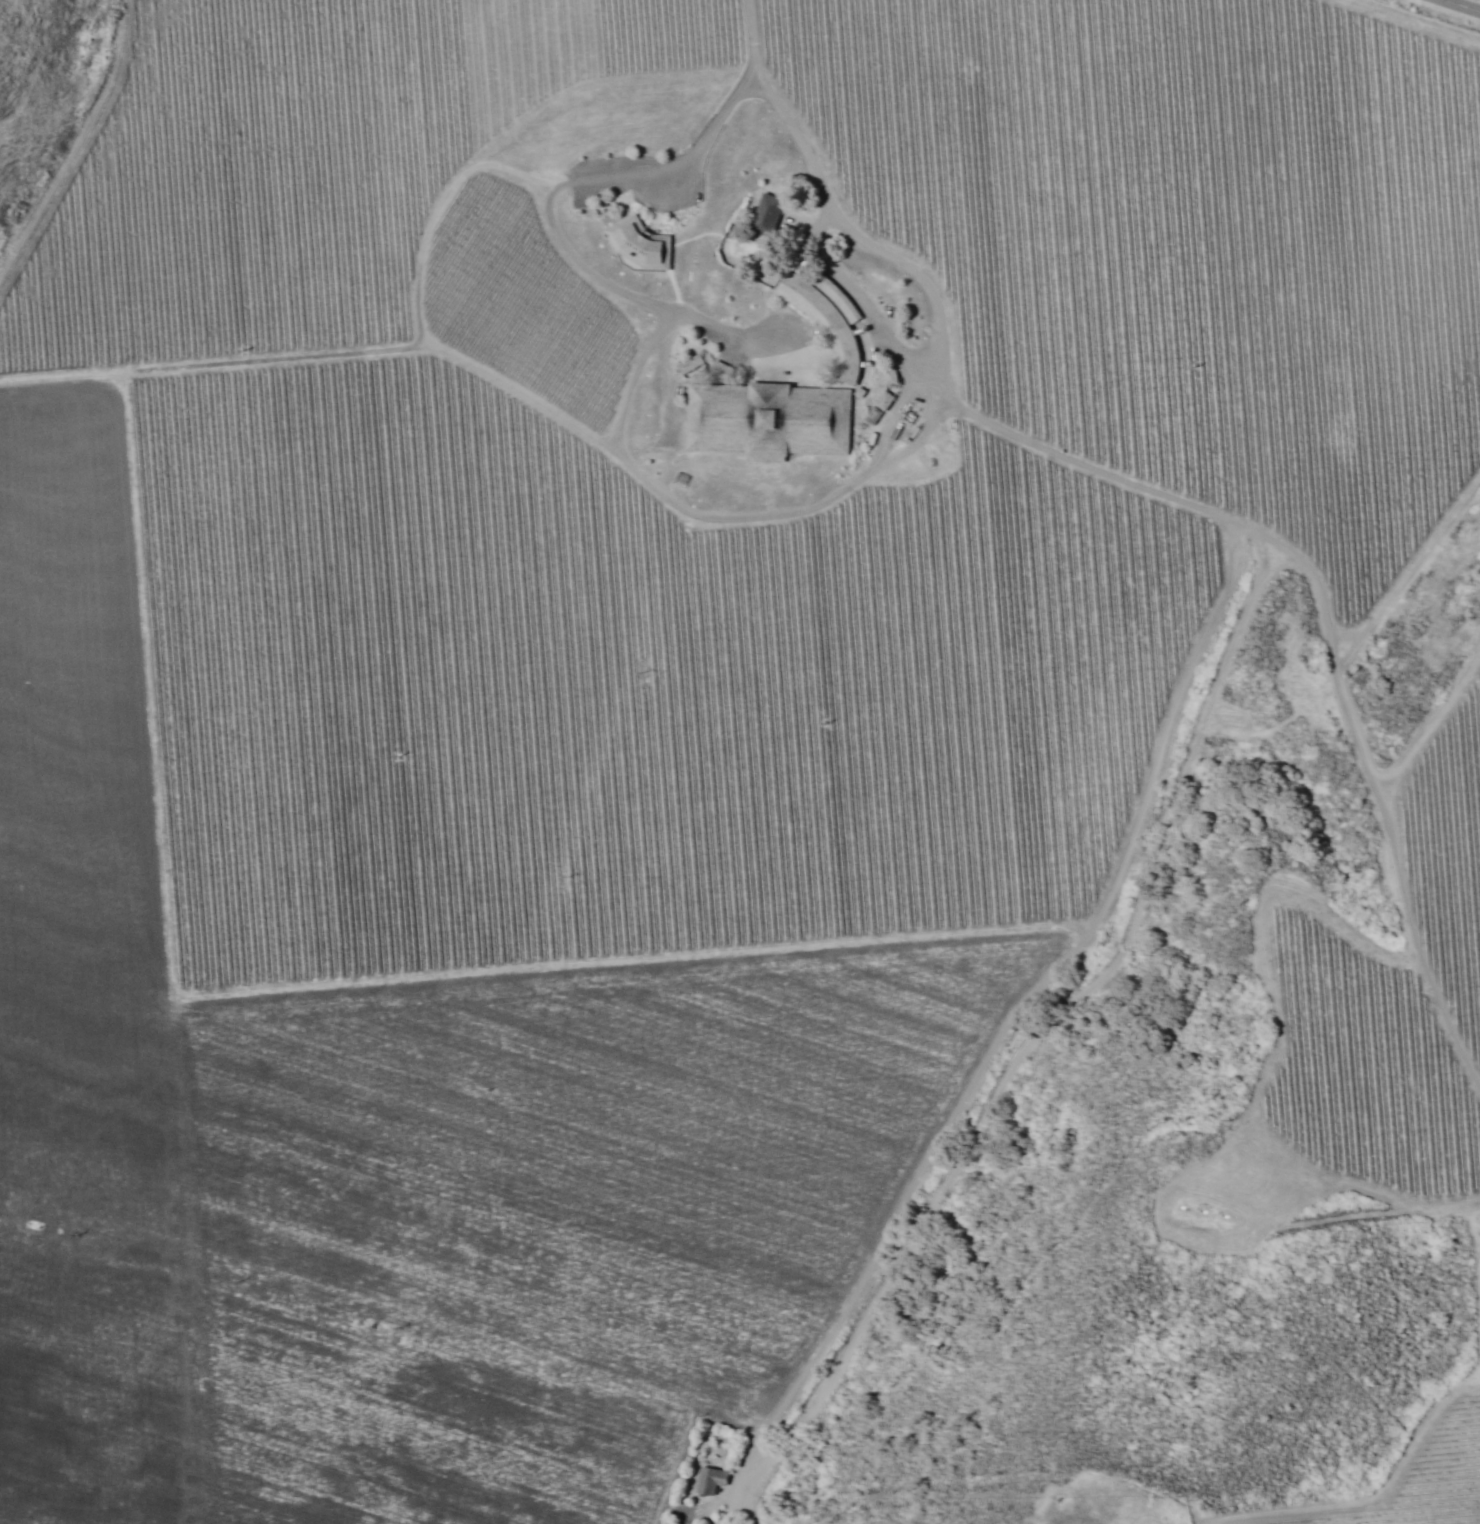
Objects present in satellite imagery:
road: (1455, 7)
building: (763, 211)
building: (636, 245)
building: (823, 319)
building: (687, 363)
building: (717, 371)
building: (887, 375)
building: (855, 392)
building: (881, 400)
building: (765, 420)
road: (1044, 497)
crop: (622, 712)
crop: (1370, 1028)
building: (707, 1479)
crop: (1400, 1485)

